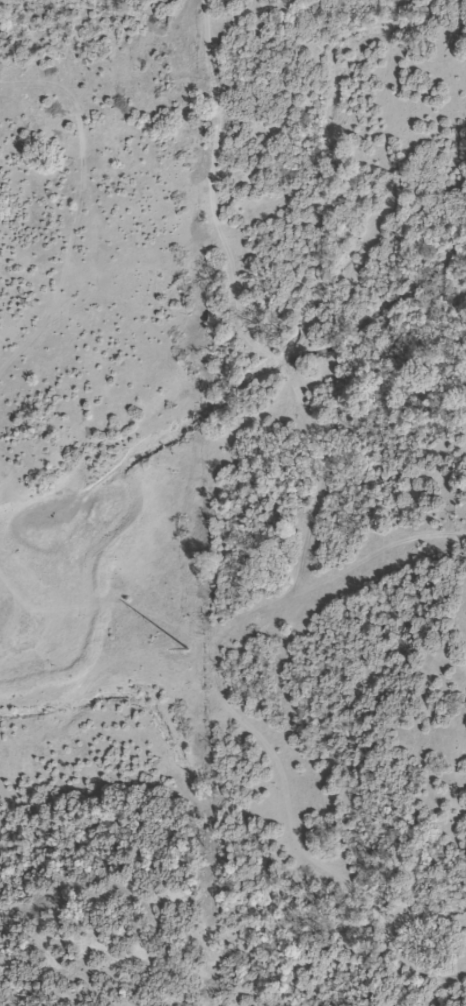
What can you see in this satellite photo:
power tower: (187, 647)

